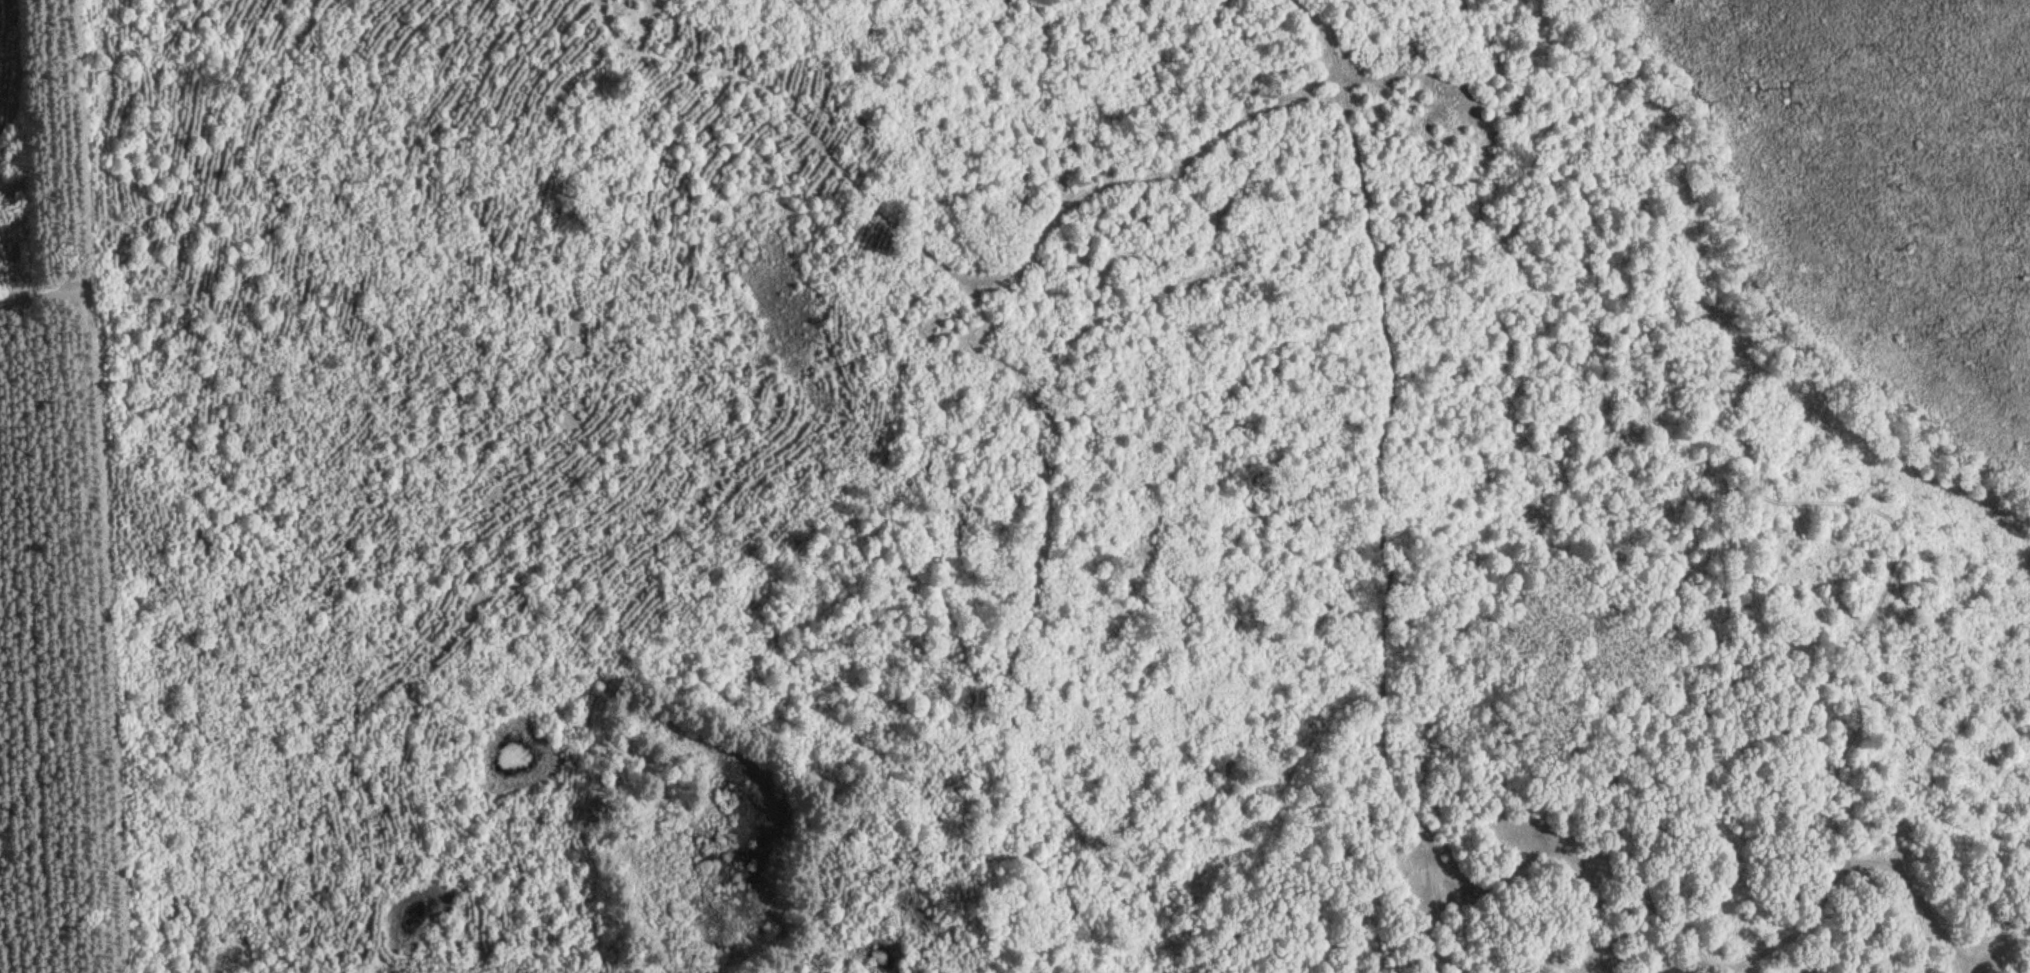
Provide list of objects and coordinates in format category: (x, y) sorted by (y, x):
road: (985, 285)
road: (1389, 529)

